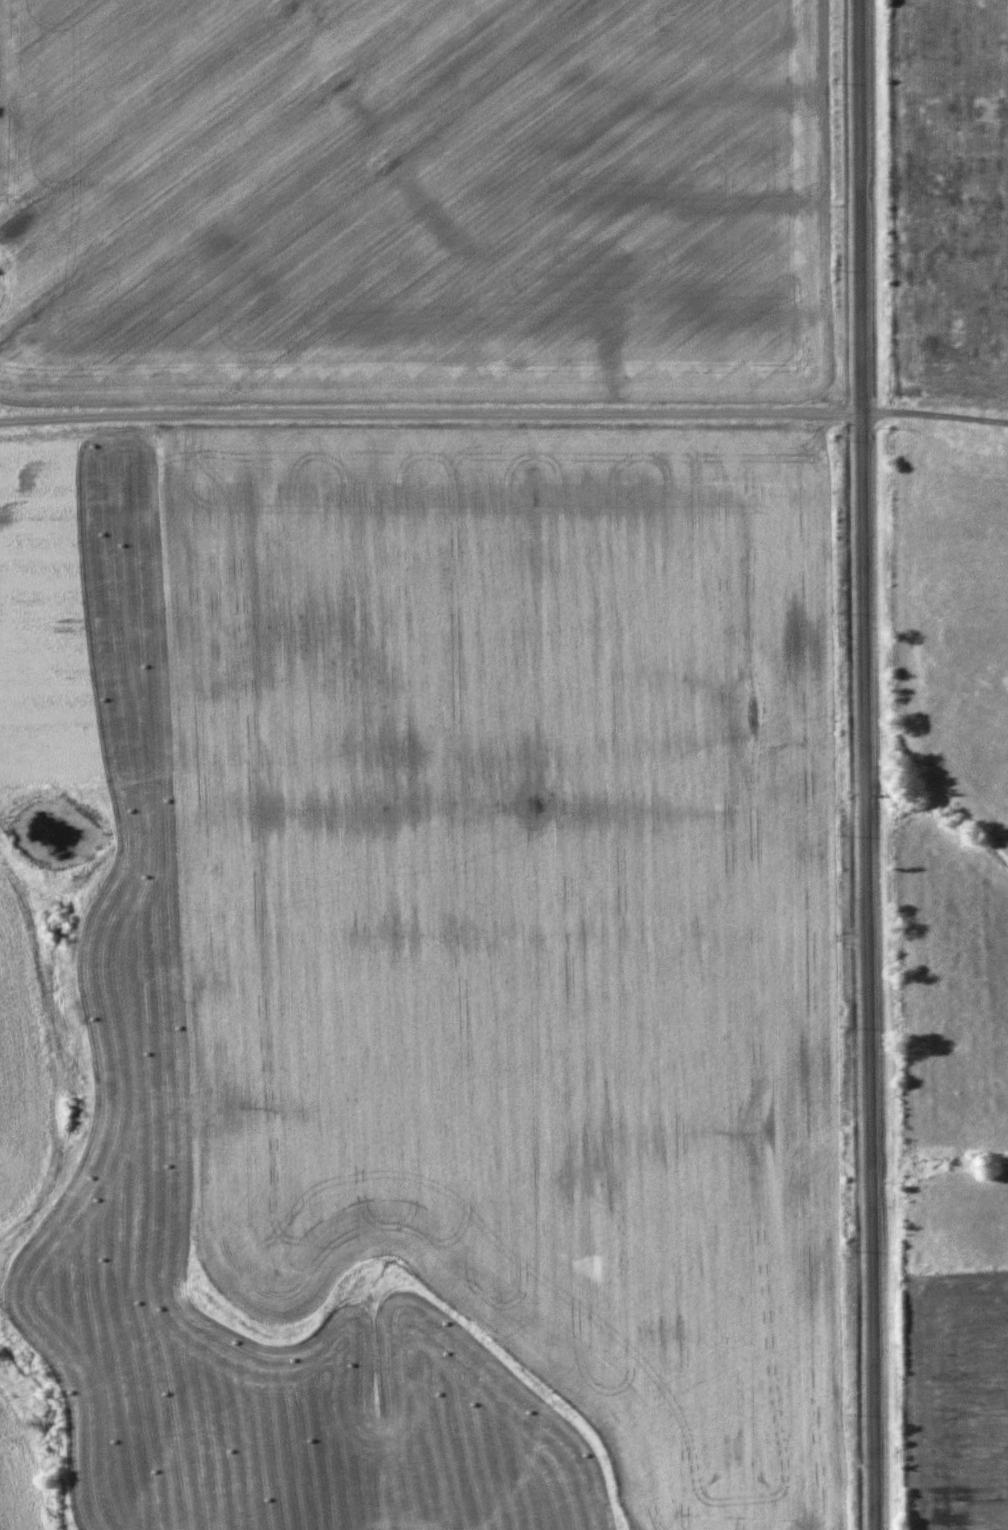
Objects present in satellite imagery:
road: (430, 412)
road: (935, 413)
road: (863, 765)

